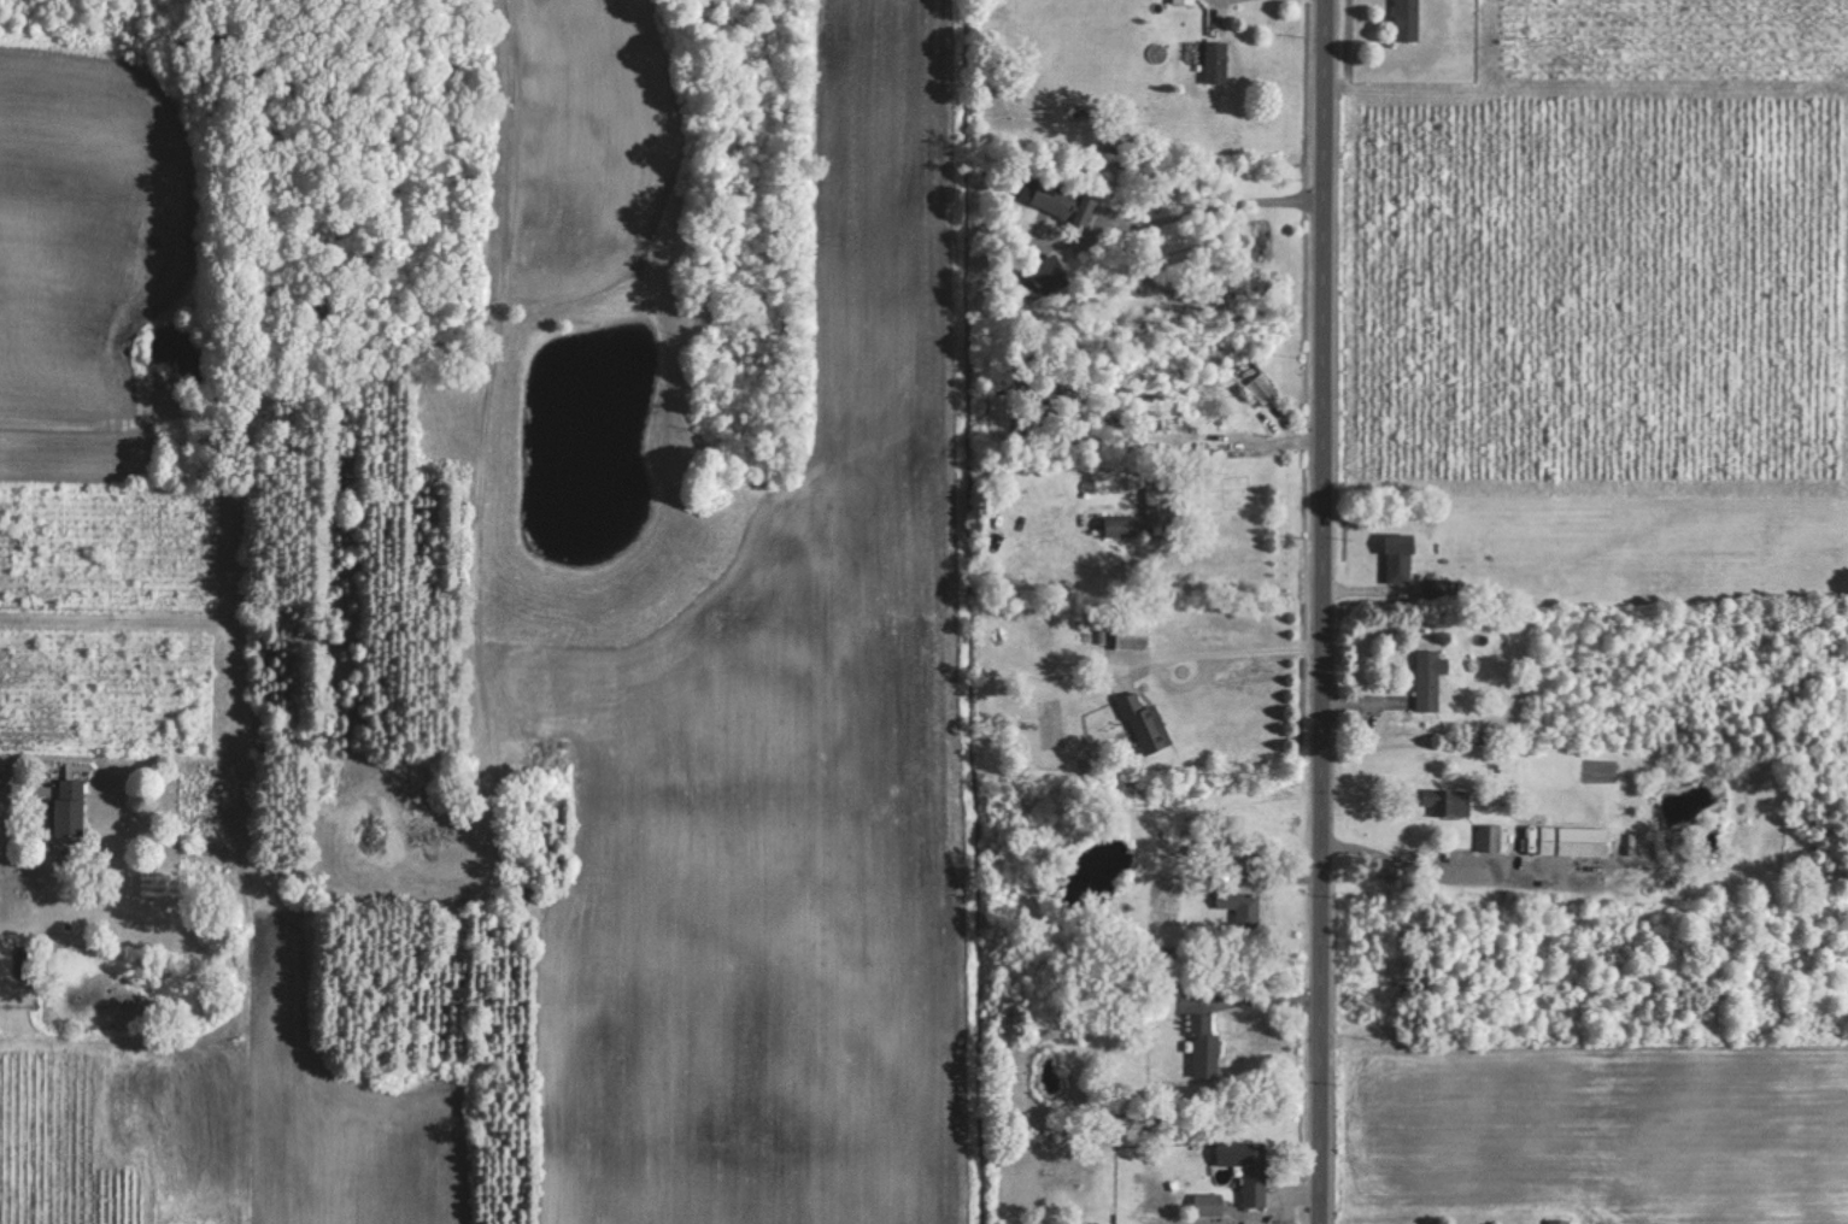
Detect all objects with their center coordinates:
building: (1184, 1)
road: (1254, 7)
building: (1408, 19)
building: (1215, 61)
road: (516, 163)
building: (1058, 200)
road: (1228, 202)
building: (1048, 275)
building: (1265, 386)
building: (999, 411)
building: (1146, 513)
building: (1400, 557)
road: (1326, 612)
building: (1132, 634)
road: (1197, 651)
building: (1428, 677)
building: (1143, 723)
road: (20, 778)
building: (1449, 800)
building: (69, 806)
building: (1490, 837)
building: (1574, 840)
road: (1394, 857)
building: (1246, 869)
road: (1260, 993)
building: (1204, 1046)
building: (1255, 1175)
building: (1209, 1204)
building: (1560, 1220)

